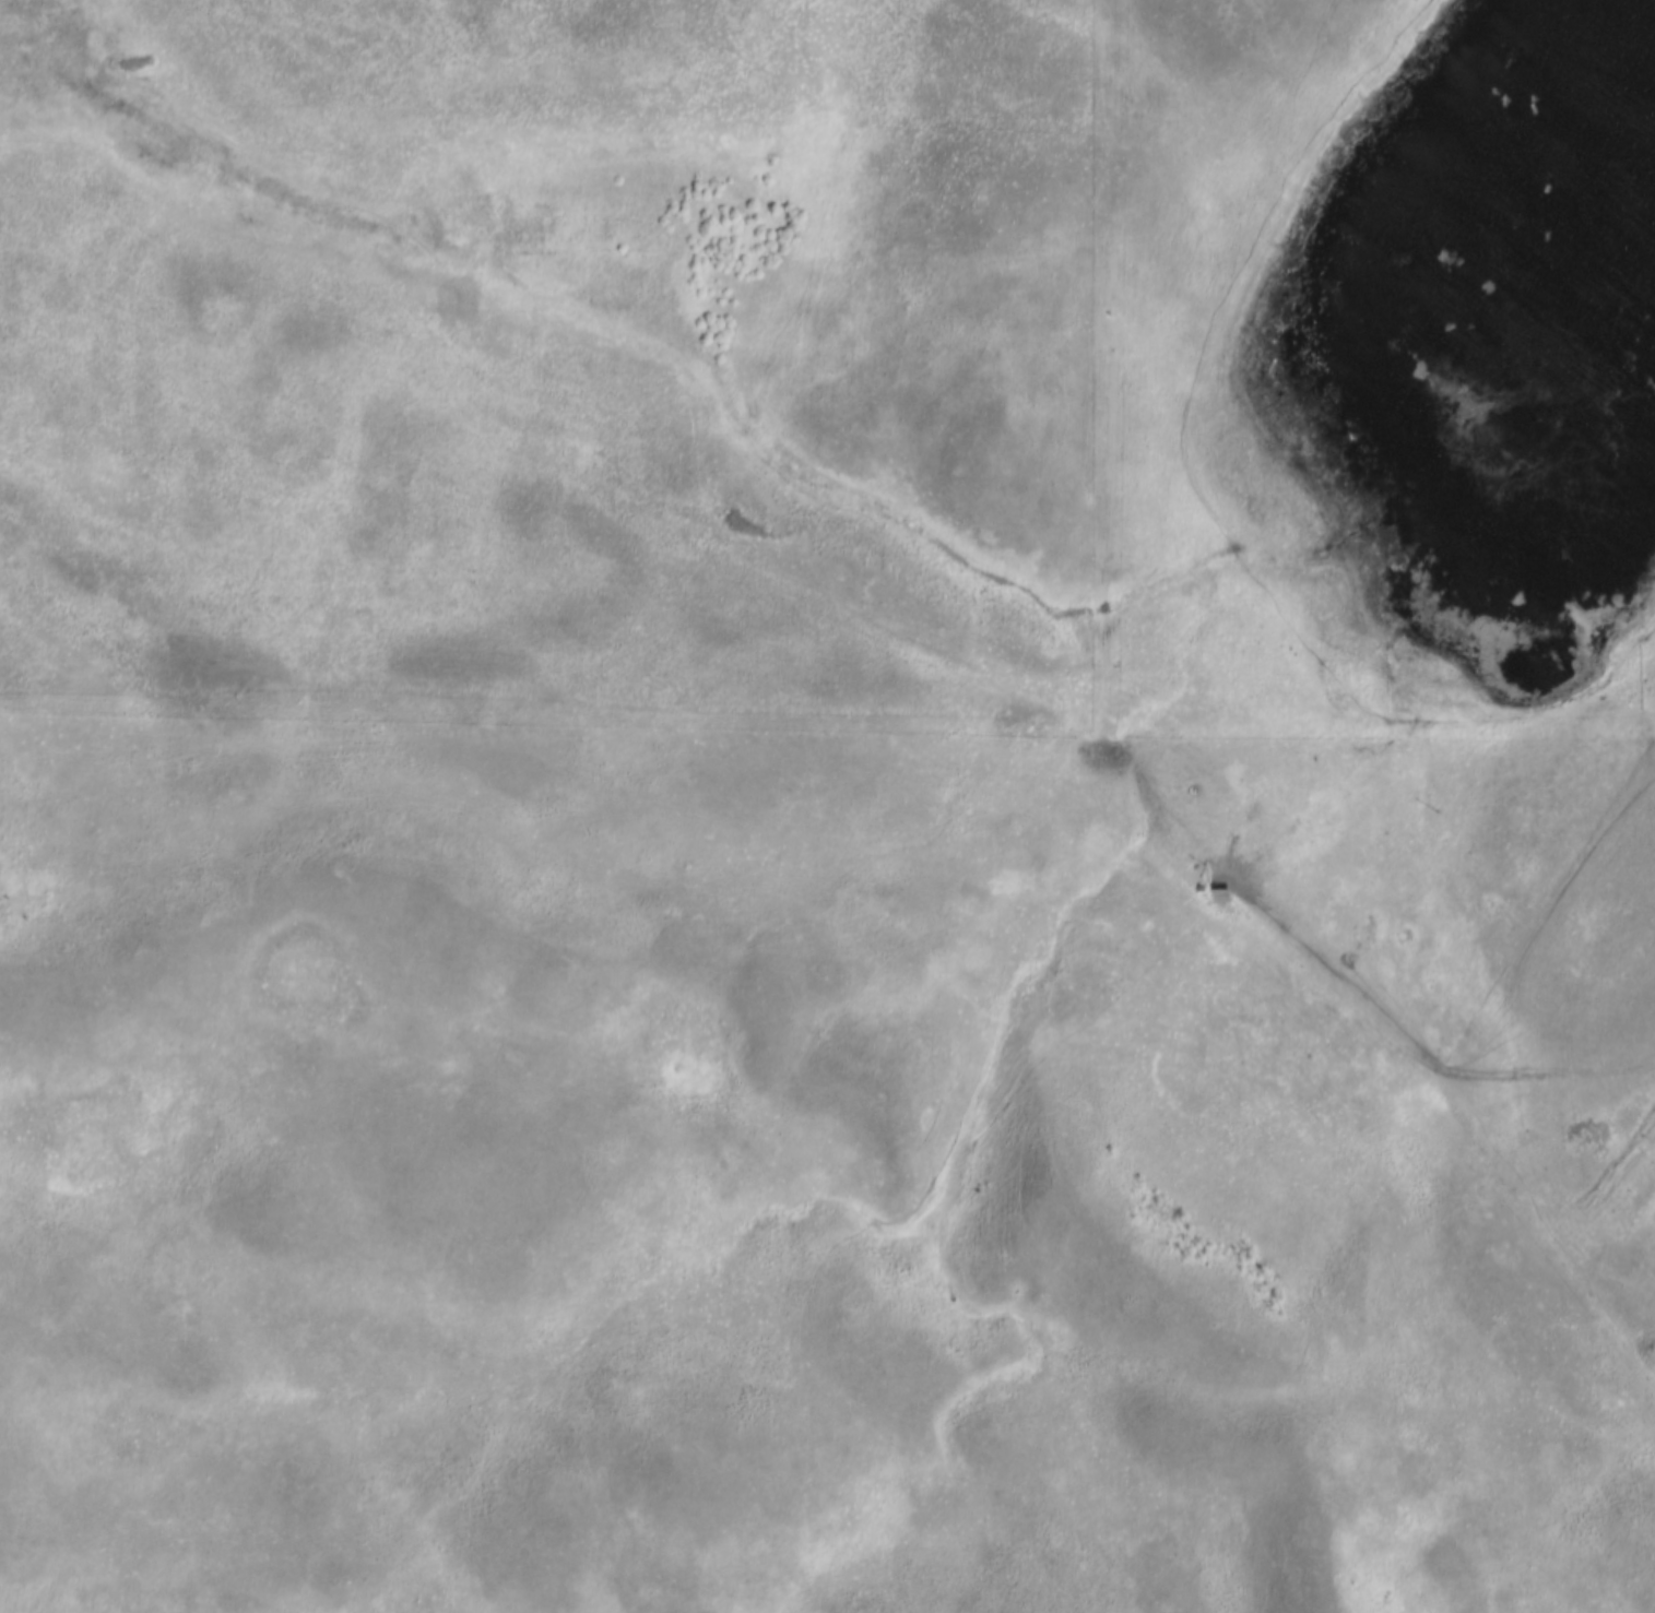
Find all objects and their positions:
quarry: (1621, 1243)

